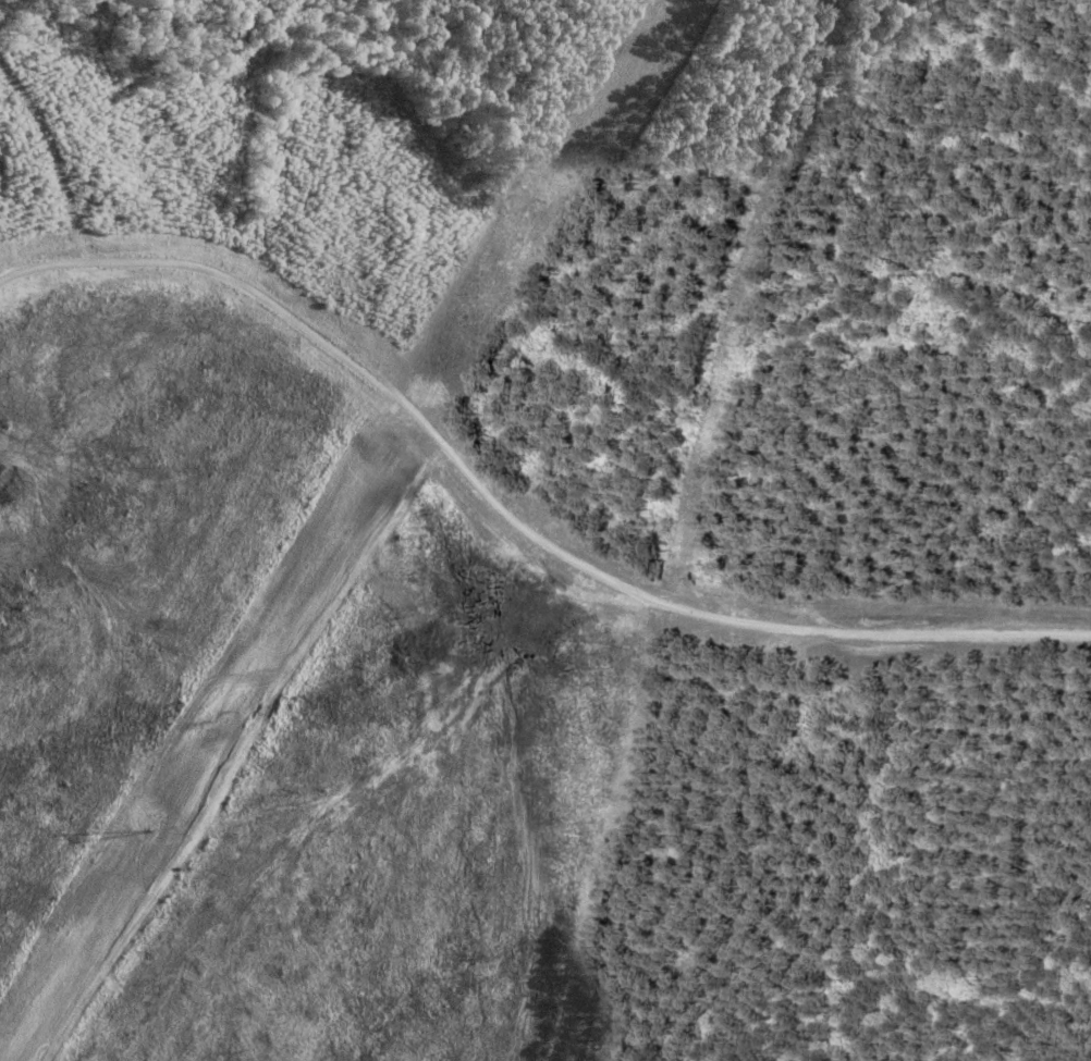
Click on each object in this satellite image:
power tower: (585, 145)
road: (513, 511)
power tower: (154, 834)

